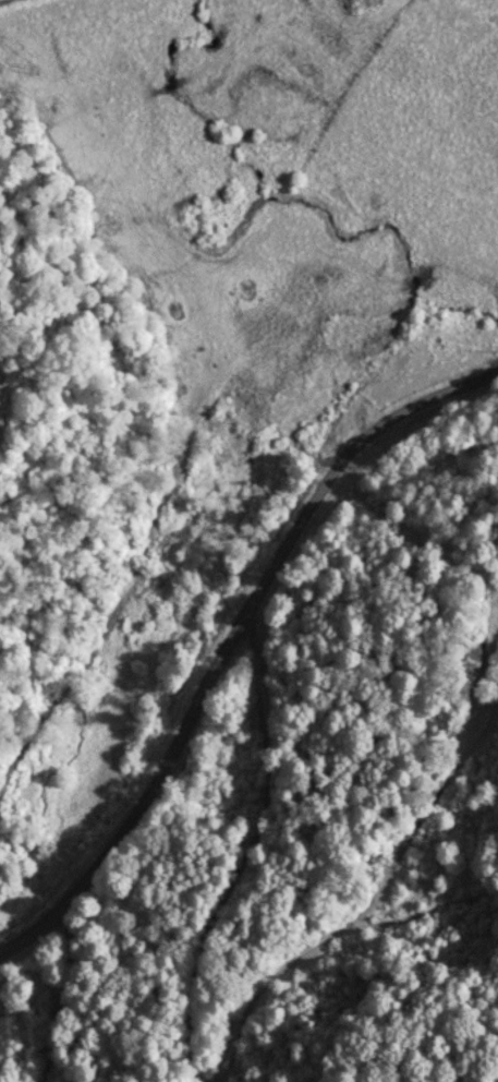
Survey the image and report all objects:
road: (234, 641)

